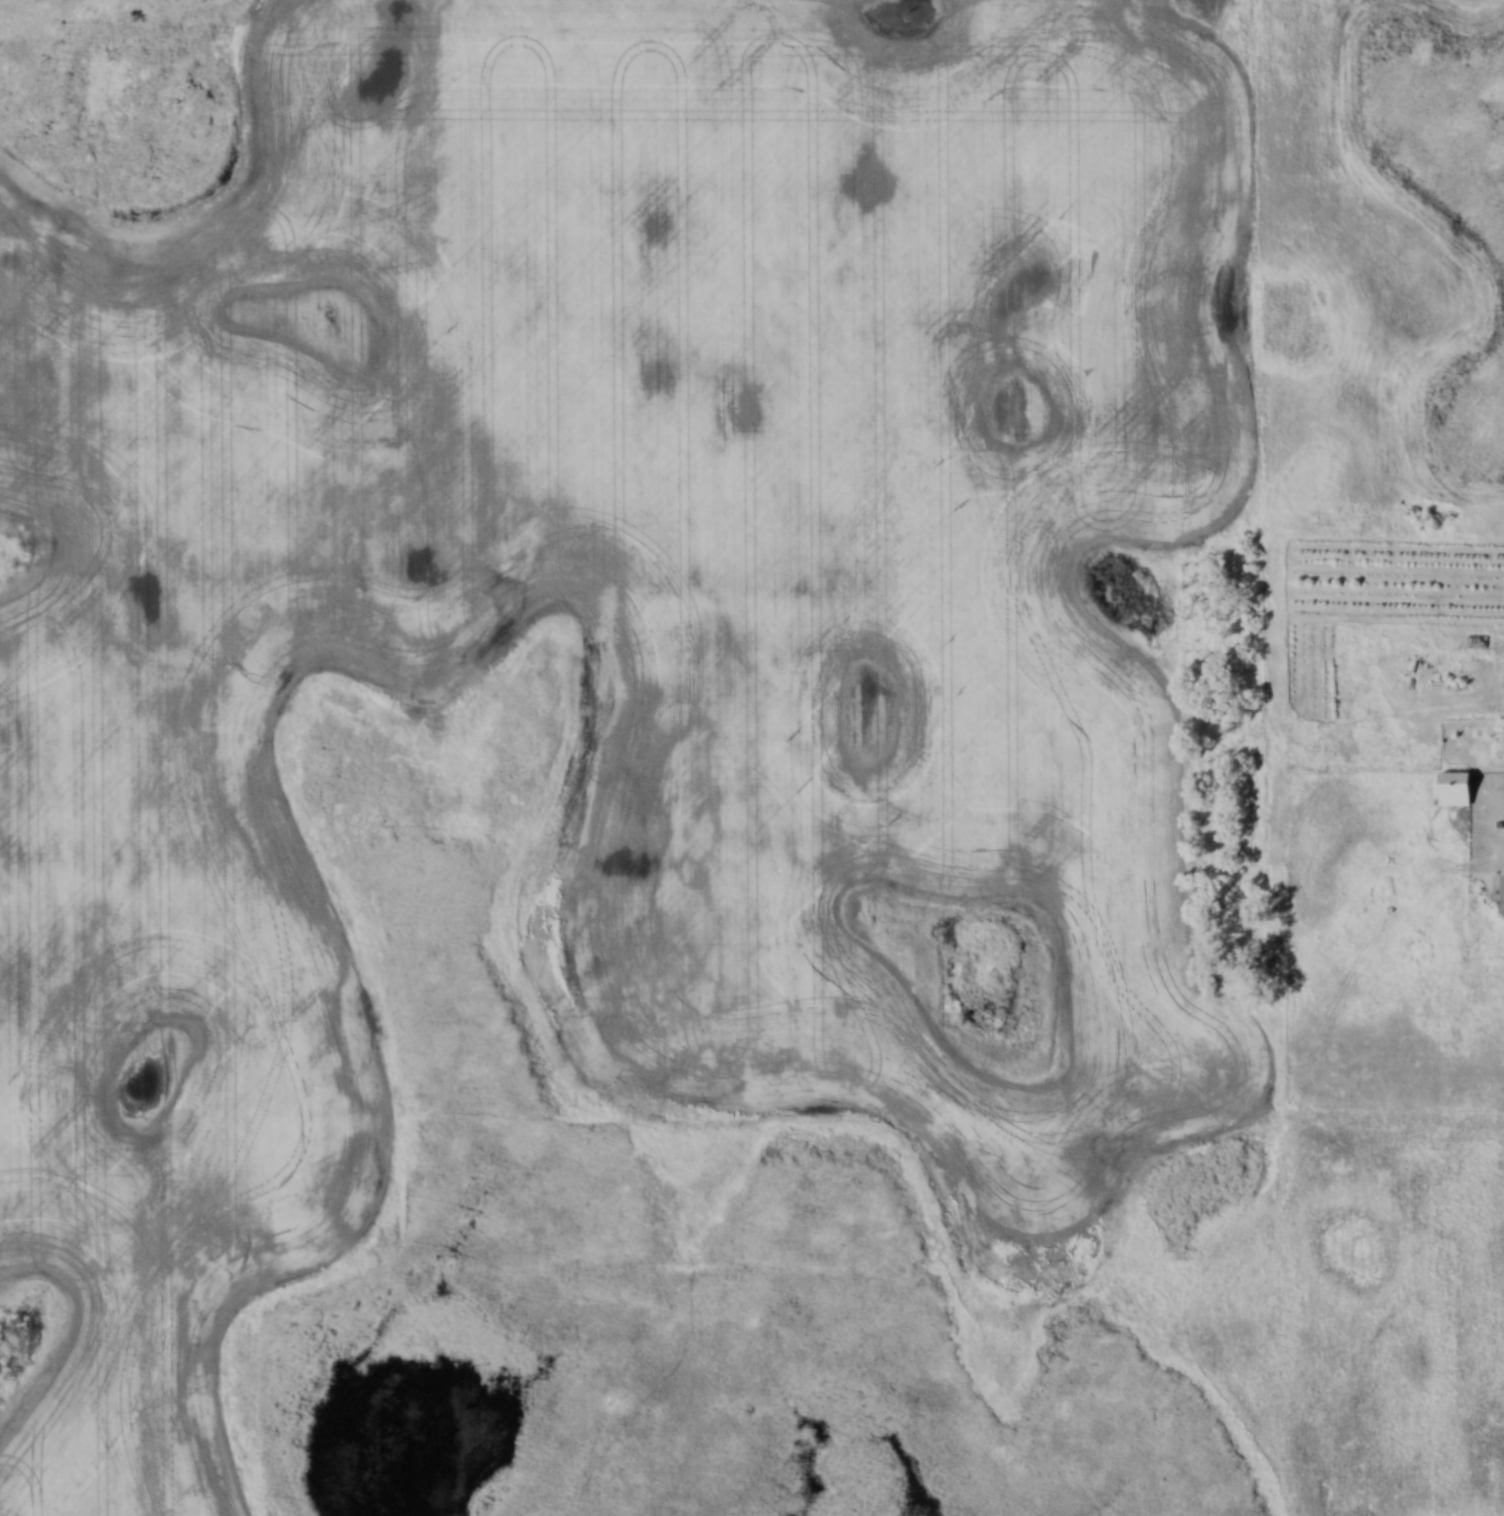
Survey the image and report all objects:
building: (1445, 790)
building: (1497, 896)

